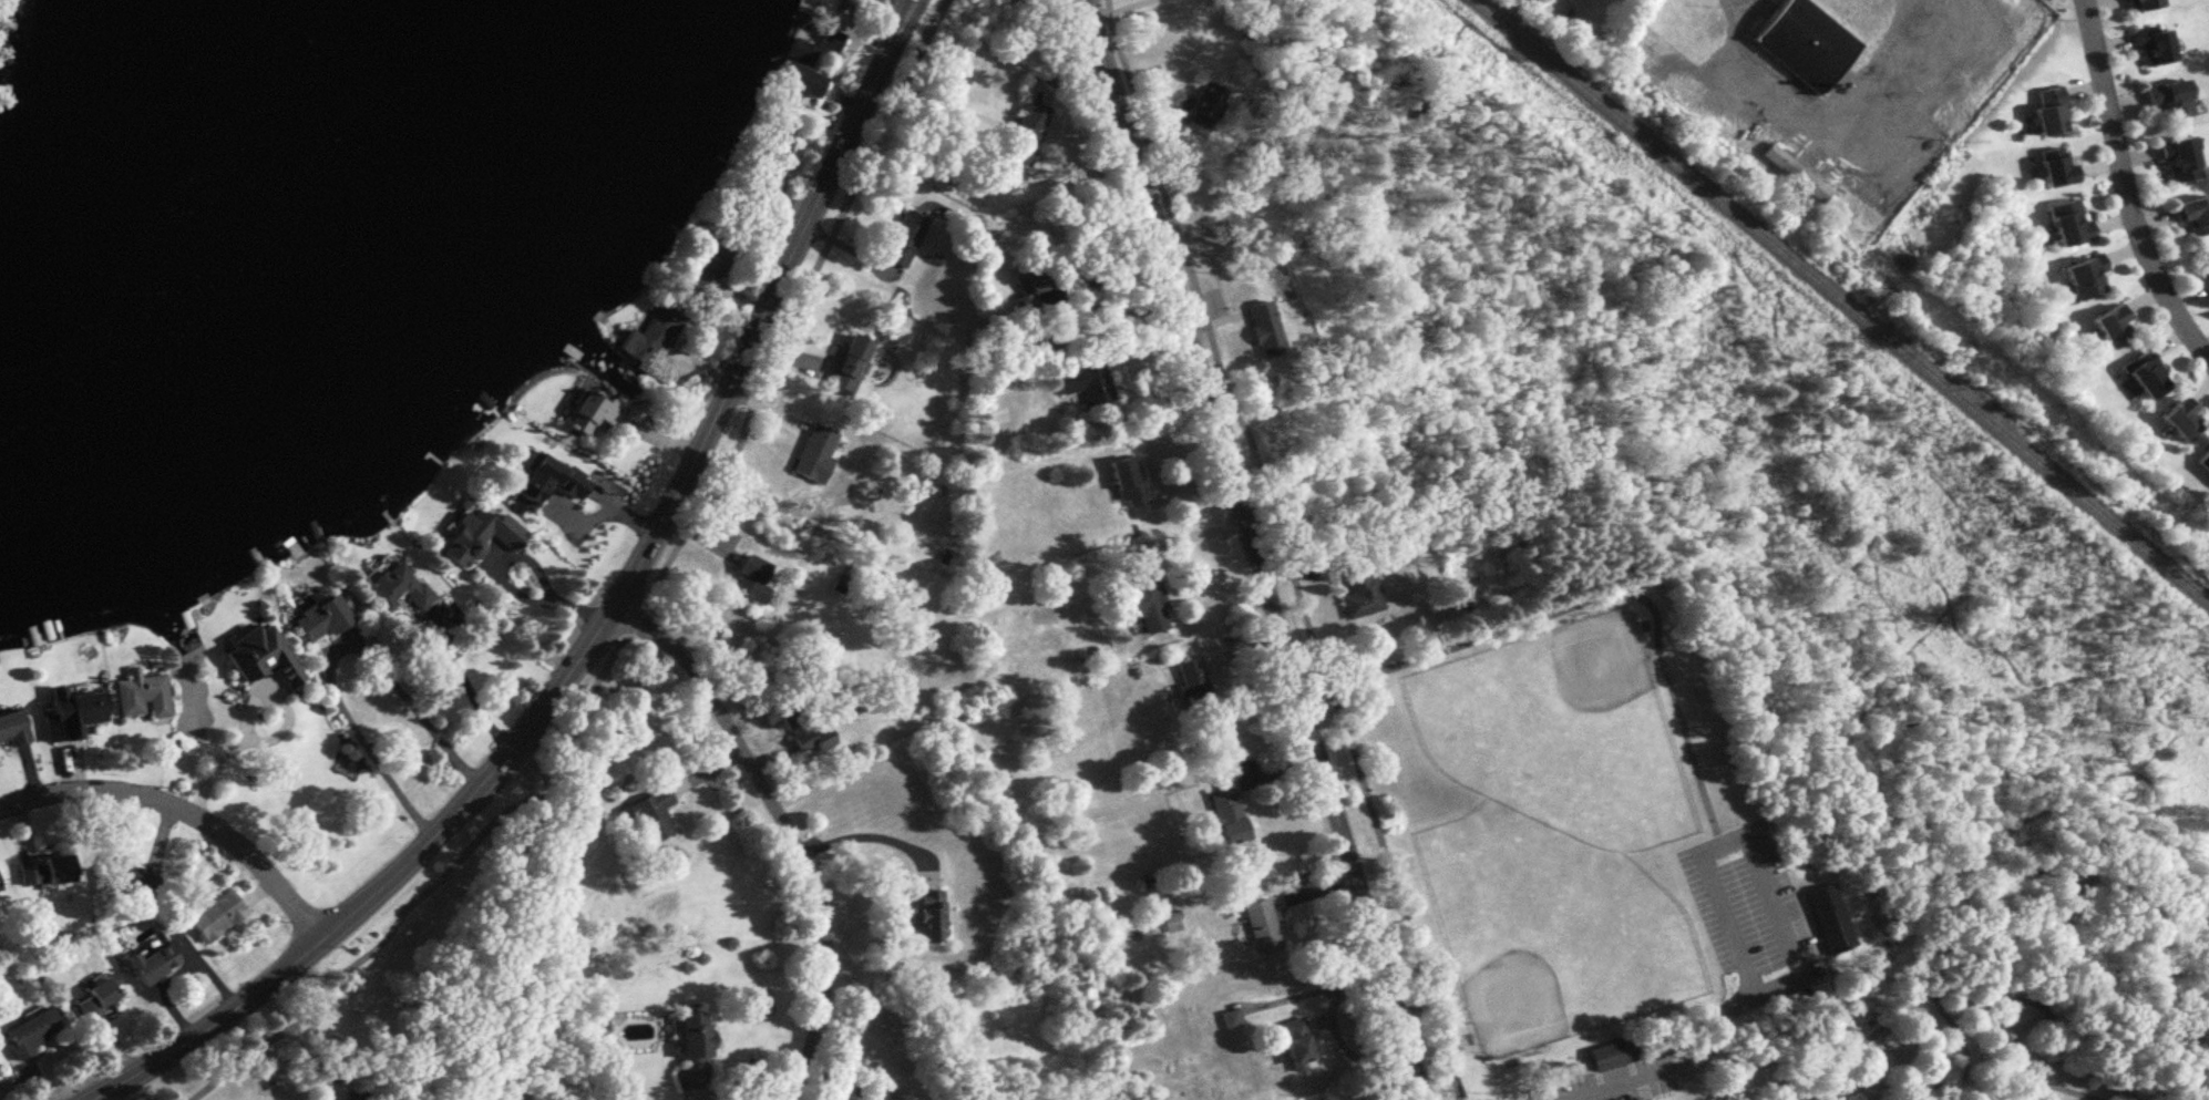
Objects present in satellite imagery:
building: (2140, 3)
road: (1110, 7)
building: (830, 38)
building: (1802, 41)
building: (2150, 43)
building: (799, 66)
road: (1743, 83)
building: (2167, 97)
building: (1202, 107)
building: (2046, 110)
building: (1024, 133)
building: (2176, 158)
building: (763, 165)
building: (2054, 167)
building: (1794, 172)
road: (2124, 188)
building: (2191, 214)
building: (2066, 220)
building: (905, 237)
building: (708, 260)
building: (2205, 267)
road: (1110, 269)
building: (1030, 274)
building: (2084, 276)
river: (277, 277)
railway: (1840, 302)
building: (2109, 325)
road: (1110, 326)
building: (1262, 328)
building: (650, 340)
road: (748, 341)
building: (850, 363)
building: (2145, 372)
building: (1086, 381)
building: (589, 411)
building: (2180, 418)
building: (1273, 426)
building: (814, 450)
building: (538, 474)
building: (1127, 480)
road: (1185, 532)
building: (479, 535)
road: (1256, 548)
road: (1267, 555)
road: (1942, 567)
building: (751, 578)
building: (397, 586)
building: (1358, 589)
road: (1604, 590)
road: (1893, 595)
building: (1144, 602)
road: (638, 610)
building: (319, 617)
road: (336, 649)
building: (259, 655)
park: (1596, 660)
building: (1192, 681)
road: (466, 686)
building: (141, 695)
road: (1891, 703)
building: (74, 706)
road: (1859, 711)
park: (1758, 720)
building: (801, 722)
building: (11, 726)
road: (2157, 742)
park: (1550, 744)
road: (216, 759)
building: (1225, 809)
road: (184, 811)
building: (646, 815)
road: (2027, 820)
road: (866, 826)
road: (787, 829)
road: (1724, 842)
building: (43, 868)
building: (126, 876)
park: (1559, 909)
parking lot: (1749, 909)
road: (351, 913)
building: (215, 914)
building: (925, 914)
building: (1828, 915)
road: (480, 921)
building: (1261, 924)
building: (151, 962)
park: (373, 983)
road: (1973, 988)
building: (96, 997)
park: (1513, 1003)
building: (1231, 1016)
building: (31, 1030)
building: (1295, 1040)
road: (1962, 1041)
building: (692, 1047)
building: (1612, 1051)
road: (1695, 1058)
parking lot: (1614, 1080)
road: (2061, 1087)
road: (1640, 1090)
building: (882, 1096)

